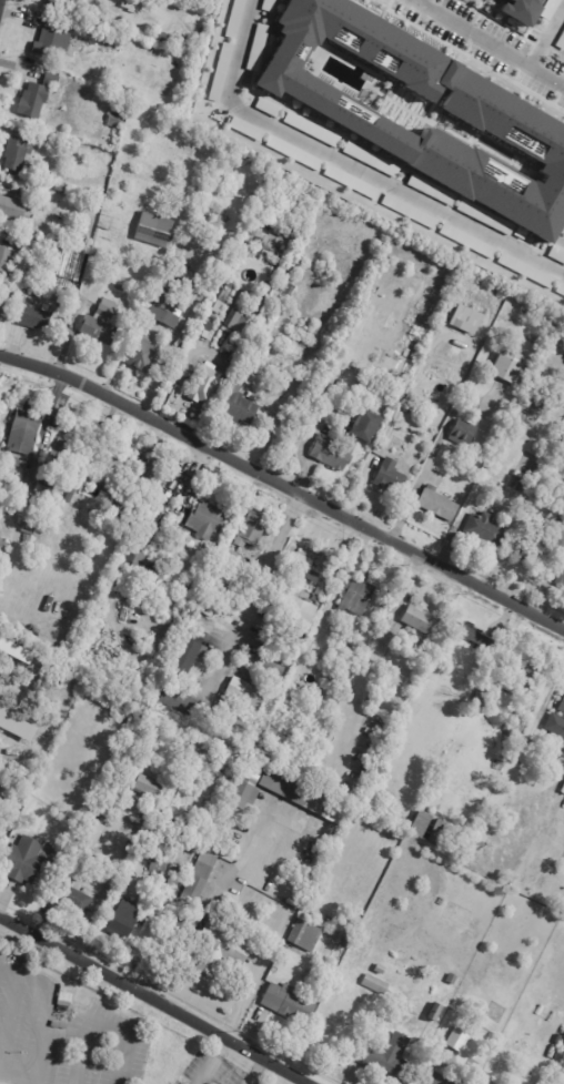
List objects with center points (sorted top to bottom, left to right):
building: (525, 2)
building: (103, 3)
building: (60, 6)
building: (550, 9)
building: (233, 19)
road: (494, 38)
building: (113, 39)
building: (561, 40)
building: (51, 43)
building: (154, 51)
building: (219, 72)
building: (36, 98)
building: (501, 116)
building: (113, 120)
building: (245, 129)
building: (311, 129)
building: (38, 140)
building: (180, 144)
building: (240, 144)
building: (189, 148)
building: (193, 149)
building: (293, 152)
building: (18, 153)
building: (370, 160)
road: (349, 163)
building: (351, 182)
building: (60, 186)
building: (431, 190)
building: (14, 207)
building: (409, 211)
building: (372, 223)
building: (154, 230)
building: (191, 230)
building: (202, 230)
building: (467, 241)
building: (34, 249)
building: (556, 254)
building: (7, 260)
building: (525, 270)
building: (299, 272)
building: (289, 290)
building: (560, 290)
building: (168, 307)
building: (4, 310)
building: (36, 318)
building: (467, 320)
building: (99, 324)
building: (245, 327)
building: (143, 330)
building: (144, 354)
building: (511, 364)
building: (207, 384)
building: (374, 394)
building: (544, 402)
building: (241, 406)
building: (410, 406)
building: (366, 427)
building: (463, 432)
building: (26, 434)
building: (66, 452)
building: (333, 453)
road: (430, 459)
building: (558, 463)
building: (152, 469)
building: (83, 472)
building: (112, 472)
building: (390, 476)
road: (284, 483)
building: (43, 490)
building: (73, 492)
building: (164, 498)
building: (122, 503)
building: (437, 505)
building: (563, 507)
building: (203, 519)
building: (485, 530)
building: (31, 534)
building: (248, 538)
building: (3, 548)
building: (520, 550)
building: (144, 567)
building: (312, 573)
building: (561, 574)
building: (218, 578)
road: (251, 588)
building: (357, 597)
building: (296, 608)
building: (207, 611)
building: (423, 620)
building: (472, 636)
building: (276, 637)
building: (190, 657)
building: (268, 667)
building: (522, 678)
building: (246, 693)
building: (484, 697)
building: (179, 701)
building: (289, 708)
building: (563, 708)
building: (122, 711)
building: (234, 720)
building: (384, 726)
building: (560, 729)
building: (269, 731)
building: (129, 761)
building: (6, 777)
building: (249, 787)
building: (150, 788)
building: (299, 793)
building: (159, 820)
building: (142, 822)
building: (430, 829)
building: (93, 834)
building: (133, 844)
building: (24, 861)
building: (159, 868)
building: (203, 874)
building: (71, 898)
road: (210, 904)
building: (124, 918)
building: (306, 938)
building: (346, 944)
building: (225, 952)
building: (453, 980)
building: (375, 984)
road: (153, 1001)
building: (289, 1004)
road: (44, 1010)
building: (437, 1013)
road: (101, 1027)
building: (462, 1036)
building: (391, 1058)
road: (211, 1062)
road: (252, 1072)
road: (16, 1076)
building: (440, 1080)

